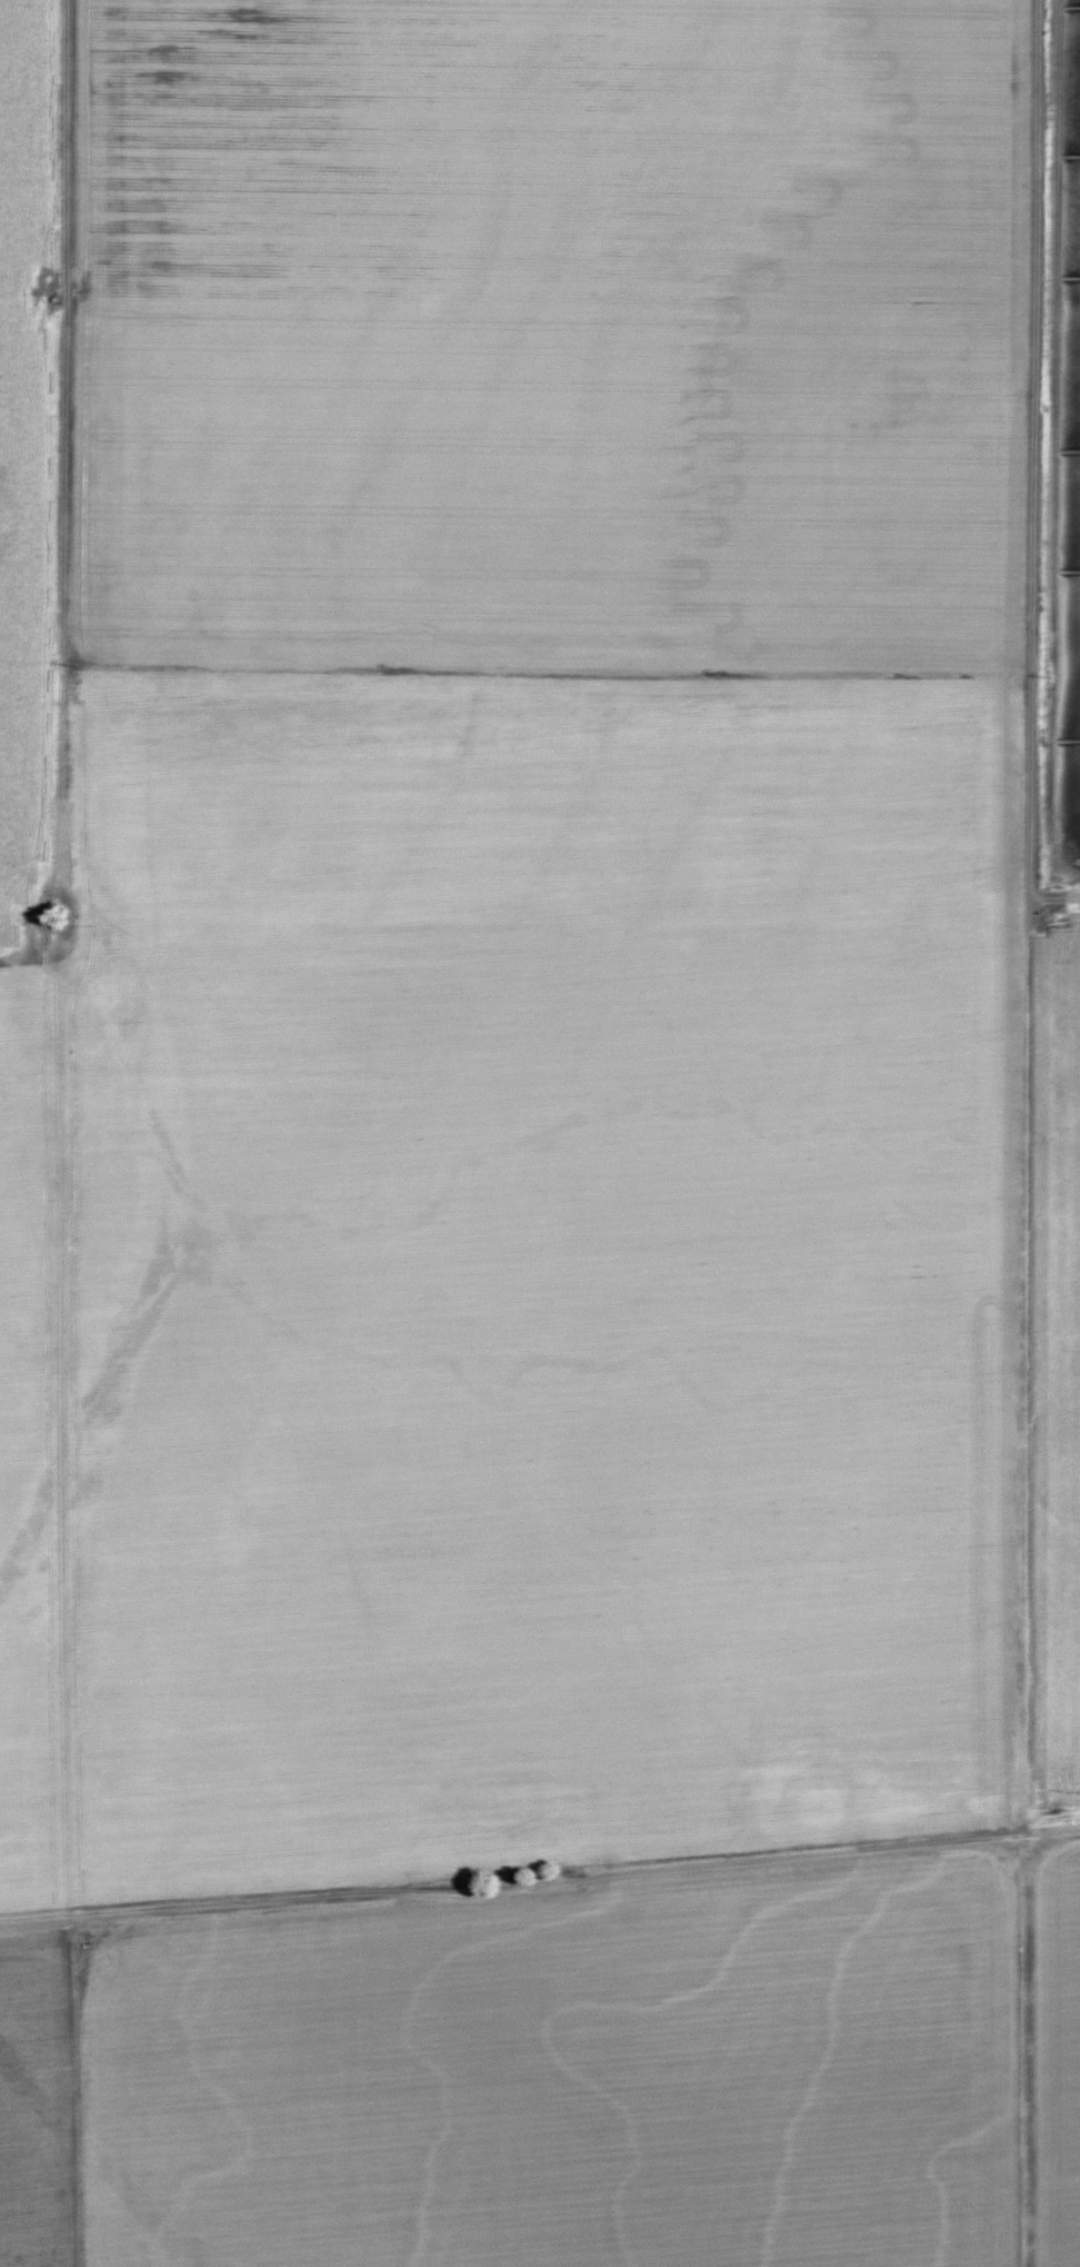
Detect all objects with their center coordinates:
road: (67, 494)
road: (540, 1890)

